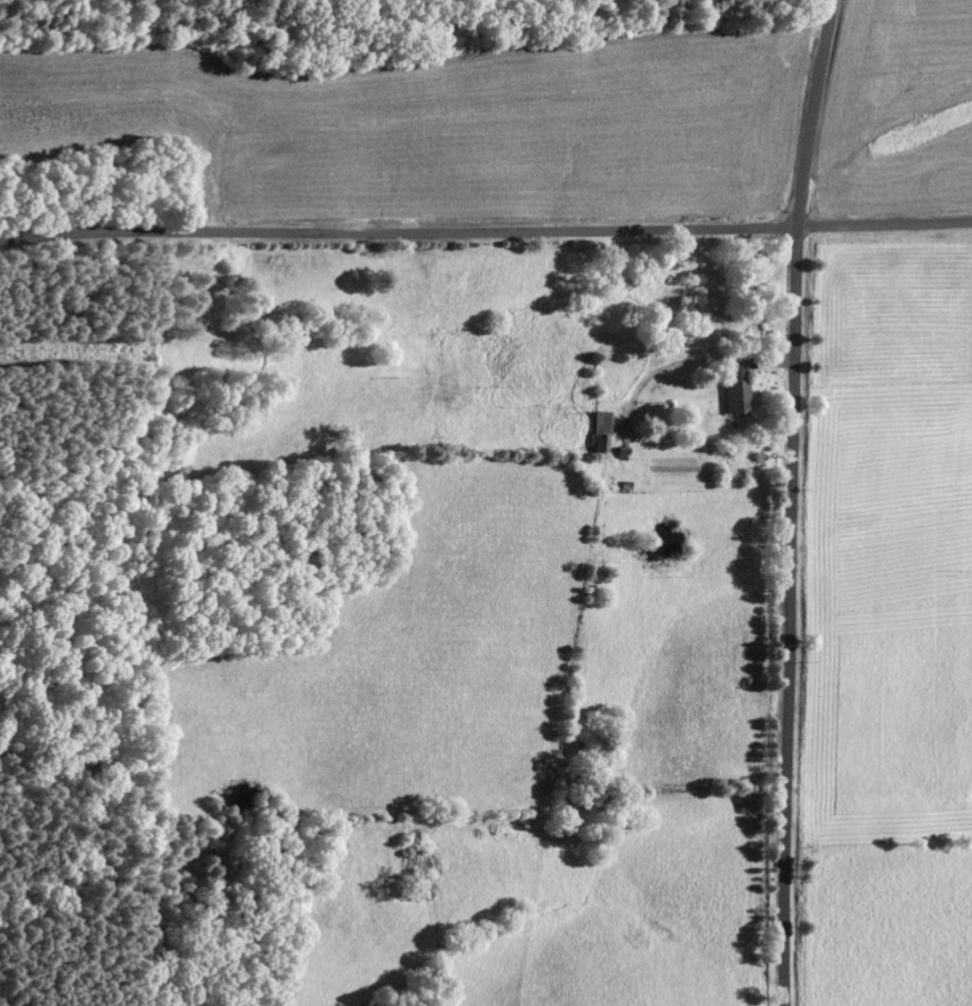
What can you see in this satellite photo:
road: (485, 231)
building: (736, 390)
building: (600, 433)
road: (790, 501)

